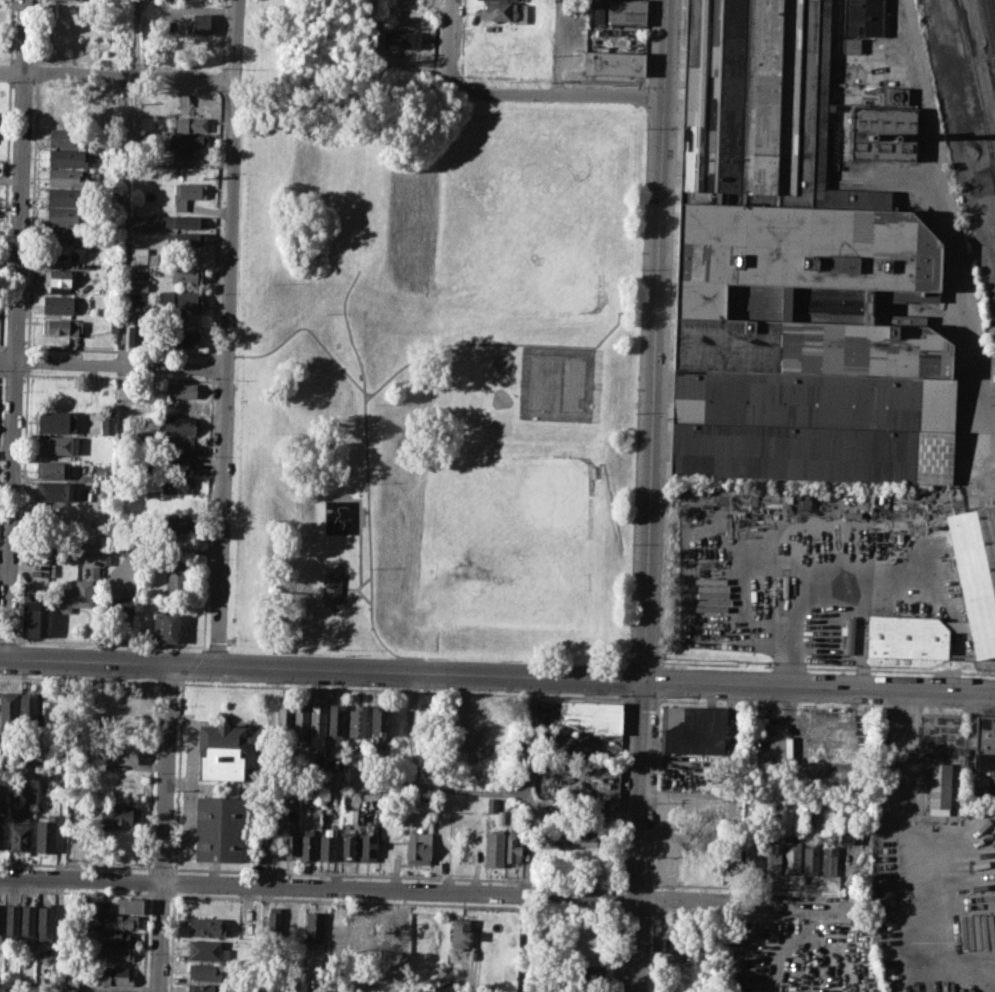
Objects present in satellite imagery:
building: (74, 0)
road: (226, 1)
railway: (994, 2)
building: (498, 11)
building: (619, 11)
building: (863, 16)
building: (201, 23)
railway: (989, 26)
road: (136, 38)
building: (403, 39)
road: (449, 42)
building: (851, 45)
road: (559, 48)
building: (613, 62)
road: (117, 75)
railway: (976, 87)
road: (556, 97)
building: (106, 109)
building: (191, 123)
building: (884, 128)
building: (66, 137)
building: (191, 147)
building: (68, 158)
building: (65, 177)
building: (189, 193)
building: (65, 197)
road: (945, 210)
building: (63, 216)
park: (519, 216)
building: (183, 222)
building: (140, 224)
building: (66, 235)
road: (218, 236)
building: (185, 238)
building: (140, 250)
building: (187, 274)
building: (791, 274)
building: (62, 282)
building: (139, 285)
building: (181, 301)
building: (58, 303)
road: (633, 311)
building: (61, 327)
road: (308, 329)
road: (16, 330)
road: (671, 333)
building: (134, 334)
road: (227, 334)
building: (183, 338)
road: (654, 342)
road: (489, 343)
road: (214, 354)
road: (227, 354)
park: (503, 362)
road: (113, 364)
road: (122, 365)
road: (213, 367)
road: (2, 373)
road: (14, 374)
road: (118, 376)
park: (435, 376)
park: (556, 383)
building: (180, 389)
park: (501, 398)
building: (136, 405)
building: (180, 406)
road: (364, 420)
building: (56, 422)
building: (107, 425)
building: (179, 425)
building: (57, 445)
building: (179, 445)
building: (177, 463)
building: (55, 469)
road: (598, 469)
building: (100, 471)
building: (177, 484)
building: (55, 491)
park: (542, 494)
road: (612, 504)
building: (179, 522)
road: (360, 524)
road: (5, 544)
road: (63, 547)
building: (106, 559)
building: (976, 569)
building: (94, 572)
building: (178, 576)
park: (505, 576)
building: (332, 586)
road: (350, 588)
building: (74, 596)
building: (120, 604)
road: (205, 606)
road: (371, 615)
building: (30, 618)
building: (164, 626)
building: (849, 635)
building: (907, 636)
road: (7, 640)
road: (84, 663)
road: (405, 675)
road: (80, 679)
road: (658, 680)
road: (168, 682)
road: (818, 688)
road: (401, 689)
road: (657, 697)
road: (640, 698)
building: (28, 707)
building: (8, 709)
building: (285, 716)
building: (578, 716)
building: (300, 720)
building: (336, 720)
building: (379, 720)
building: (356, 721)
building: (318, 725)
building: (693, 729)
building: (984, 742)
building: (336, 747)
building: (221, 751)
building: (26, 752)
building: (7, 755)
building: (123, 756)
road: (166, 773)
road: (396, 783)
building: (939, 788)
road: (638, 789)
road: (63, 796)
road: (753, 796)
building: (492, 805)
building: (593, 808)
building: (351, 814)
building: (118, 815)
building: (849, 826)
building: (1, 828)
building: (19, 828)
building: (219, 829)
road: (899, 832)
building: (45, 833)
building: (586, 840)
building: (290, 843)
building: (367, 844)
building: (307, 845)
building: (348, 845)
building: (513, 845)
building: (327, 847)
building: (418, 847)
building: (493, 847)
building: (754, 854)
building: (792, 854)
building: (773, 855)
building: (810, 857)
building: (829, 860)
road: (81, 877)
road: (650, 882)
road: (398, 888)
road: (747, 899)
building: (129, 905)
building: (92, 912)
building: (1, 919)
building: (274, 919)
building: (12, 920)
building: (28, 920)
building: (46, 921)
building: (119, 922)
building: (207, 928)
building: (315, 928)
building: (338, 929)
building: (358, 931)
building: (460, 933)
road: (159, 936)
building: (119, 937)
road: (633, 944)
building: (669, 948)
building: (208, 950)
building: (117, 952)
building: (207, 971)
building: (590, 972)
building: (115, 975)
building: (65, 984)
building: (205, 987)
building: (112, 991)

